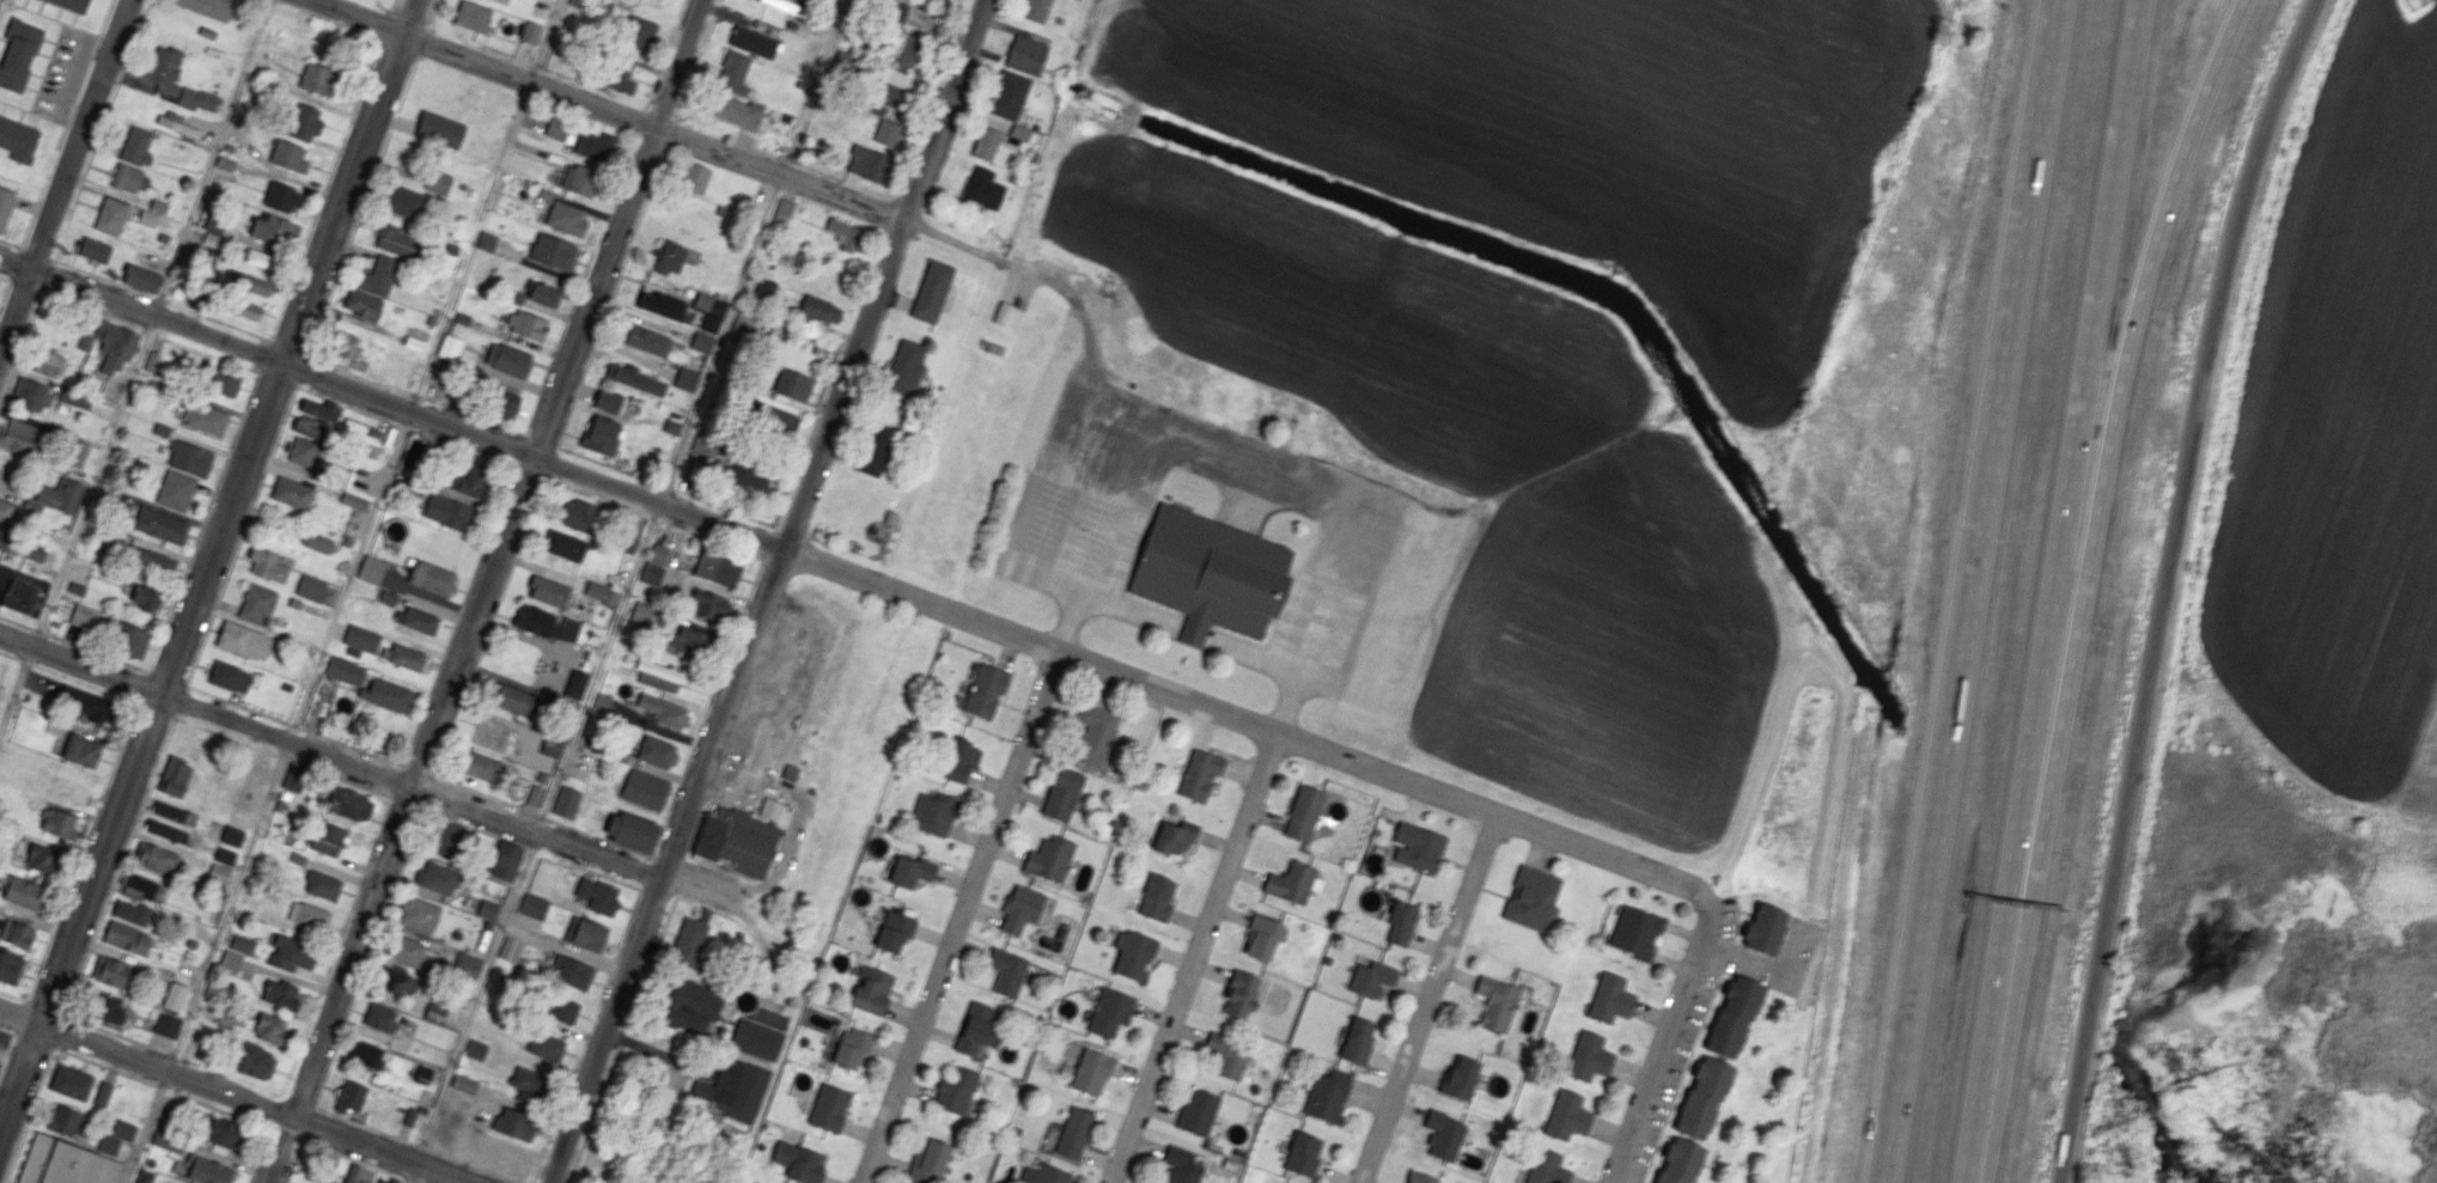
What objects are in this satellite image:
building: (501, 1)
power tower: (2409, 1)
building: (72, 4)
building: (782, 5)
building: (208, 7)
building: (1036, 10)
building: (897, 11)
building: (471, 16)
building: (530, 31)
building: (638, 33)
building: (753, 42)
building: (907, 51)
building: (18, 54)
building: (1026, 55)
building: (733, 72)
building: (621, 73)
building: (317, 78)
building: (175, 80)
building: (895, 89)
building: (1009, 94)
road: (611, 106)
building: (735, 110)
building: (304, 122)
building: (177, 124)
building: (556, 128)
building: (440, 129)
building: (887, 132)
crop: (1586, 138)
building: (18, 139)
building: (986, 142)
building: (136, 146)
building: (595, 146)
building: (290, 157)
building: (867, 163)
road: (63, 177)
building: (127, 177)
building: (694, 178)
building: (580, 179)
building: (438, 182)
building: (983, 188)
building: (281, 199)
building: (406, 202)
building: (5, 205)
building: (782, 212)
building: (111, 215)
building: (566, 218)
building: (273, 230)
building: (843, 233)
building: (486, 240)
building: (397, 242)
building: (95, 249)
building: (553, 252)
building: (670, 257)
building: (262, 260)
building: (378, 275)
road: (5, 278)
building: (141, 279)
building: (250, 282)
road: (2150, 285)
road: (25, 286)
road: (2101, 287)
building: (763, 289)
building: (932, 291)
building: (543, 293)
building: (660, 301)
building: (702, 301)
building: (362, 304)
road: (92, 310)
building: (246, 310)
building: (820, 311)
building: (709, 323)
building: (525, 325)
building: (741, 325)
road: (150, 331)
building: (645, 340)
building: (701, 341)
building: (347, 344)
building: (455, 350)
road: (627, 352)
road: (207, 353)
building: (507, 359)
building: (151, 360)
building: (45, 362)
building: (904, 366)
road: (135, 367)
building: (223, 379)
road: (276, 379)
building: (635, 379)
building: (686, 379)
building: (793, 385)
building: (29, 394)
road: (1090, 394)
building: (74, 398)
building: (607, 401)
building: (505, 402)
road: (348, 405)
building: (321, 409)
building: (203, 417)
road: (692, 417)
building: (773, 419)
road: (406, 426)
building: (671, 426)
building: (311, 427)
building: (601, 434)
building: (18, 435)
building: (705, 445)
road: (462, 447)
building: (877, 449)
building: (77, 451)
building: (303, 452)
building: (190, 458)
road: (529, 472)
building: (747, 477)
crop: (1482, 477)
building: (470, 480)
building: (176, 490)
building: (292, 493)
building: (60, 495)
road: (597, 496)
building: (354, 501)
road: (229, 511)
building: (446, 511)
building: (5, 512)
building: (575, 513)
road: (656, 518)
building: (160, 525)
road: (365, 535)
building: (4, 538)
road: (712, 539)
building: (319, 543)
building: (566, 545)
building: (33, 553)
building: (659, 554)
road: (496, 556)
building: (150, 561)
building: (267, 565)
building: (715, 568)
building: (371, 569)
building: (652, 573)
building: (1207, 573)
road: (851, 574)
building: (431, 577)
road: (2162, 584)
building: (310, 587)
building: (548, 591)
road: (769, 591)
road: (1961, 591)
building: (602, 592)
building: (19, 596)
building: (145, 598)
building: (256, 604)
building: (709, 605)
building: (645, 612)
road: (458, 615)
building: (86, 617)
building: (418, 620)
road: (18, 623)
building: (547, 623)
road: (491, 627)
building: (361, 638)
building: (132, 640)
building: (244, 640)
building: (694, 641)
road: (10, 654)
building: (407, 657)
road: (26, 661)
building: (343, 670)
building: (660, 675)
building: (229, 676)
road: (85, 683)
building: (577, 683)
building: (986, 690)
building: (386, 695)
building: (514, 700)
parking lot: (773, 700)
building: (602, 701)
building: (89, 705)
road: (156, 708)
building: (664, 711)
building: (1096, 730)
road: (226, 736)
building: (552, 745)
building: (81, 750)
building: (656, 751)
road: (330, 756)
road: (285, 757)
building: (963, 760)
building: (480, 766)
road: (419, 770)
building: (1201, 773)
building: (173, 776)
building: (294, 778)
road: (342, 779)
road: (397, 780)
road: (773, 780)
building: (645, 788)
building: (1065, 794)
building: (534, 795)
building: (566, 801)
road: (407, 803)
building: (349, 804)
building: (770, 809)
building: (937, 812)
building: (173, 813)
building: (1306, 813)
building: (57, 822)
road: (475, 827)
building: (166, 830)
building: (635, 831)
building: (232, 835)
building: (1176, 836)
building: (328, 837)
building: (449, 839)
building: (736, 842)
building: (1420, 847)
road: (531, 849)
road: (80, 850)
building: (224, 855)
building: (43, 858)
building: (154, 858)
building: (505, 860)
building: (1052, 860)
road: (121, 865)
road: (590, 870)
building: (913, 871)
building: (218, 873)
building: (438, 878)
road: (2012, 878)
building: (1292, 882)
building: (322, 885)
building: (142, 889)
building: (23, 892)
building: (598, 897)
building: (1158, 898)
building: (1535, 898)
building: (532, 905)
building: (1022, 908)
building: (488, 909)
building: (132, 913)
building: (419, 914)
building: (307, 915)
road: (961, 916)
road: (1736, 916)
road: (745, 917)
parking lot: (1725, 920)
building: (1403, 923)
building: (1761, 925)
building: (896, 931)
building: (1637, 932)
building: (17, 933)
building: (585, 933)
building: (1262, 935)
building: (127, 938)
building: (689, 940)
building: (242, 944)
building: (510, 949)
building: (406, 950)
building: (291, 953)
building: (1133, 955)
road: (368, 958)
road: (652, 958)
road: (1198, 958)
building: (230, 961)
road: (1765, 963)
parking lot: (1738, 964)
building: (468, 966)
building: (8, 968)
building: (1009, 970)
building: (110, 971)
building: (572, 971)
building: (1373, 977)
building: (397, 982)
river: (2133, 987)
building: (872, 992)
building: (1243, 993)
building: (280, 994)
road: (12, 995)
building: (175, 995)
road: (476, 998)
road: (1432, 999)
building: (1609, 999)
building: (1499, 1001)
building: (688, 1005)
building: (102, 1006)
road: (44, 1007)
building: (560, 1007)
building: (435, 1012)
building: (1111, 1012)
building: (1731, 1014)
building: (379, 1017)
building: (165, 1025)
road: (7, 1029)
building: (269, 1029)
building: (977, 1029)
road: (117, 1033)
road: (585, 1036)
road: (1664, 1036)
road: (622, 1038)
road: (33, 1039)
building: (1359, 1042)
building: (546, 1045)
building: (188, 1047)
building: (853, 1047)
building: (475, 1048)
road: (7, 1050)
building: (1229, 1053)
road: (173, 1055)
building: (367, 1055)
building: (1586, 1055)
building: (256, 1061)
road: (1687, 1061)
road: (104, 1066)
road: (0, 1069)
building: (745, 1069)
building: (1093, 1072)
parking lot: (1673, 1072)
building: (420, 1073)
road: (230, 1075)
building: (1462, 1079)
building: (71, 1081)
building: (531, 1081)
road: (20, 1083)
building: (464, 1084)
road: (160, 1087)
building: (957, 1090)
building: (102, 1093)
road: (236, 1094)
building: (1329, 1096)
building: (349, 1097)
building: (1700, 1097)
road: (298, 1100)
building: (829, 1108)
road: (218, 1109)
road: (275, 1111)
building: (1199, 1112)
road: (593, 1114)
road: (28, 1115)
building: (409, 1116)
building: (1566, 1116)
building: (63, 1120)
building: (169, 1120)
building: (513, 1122)
road: (307, 1123)
road: (145, 1126)
road: (365, 1127)
building: (123, 1130)
road: (286, 1133)
building: (1074, 1133)
building: (224, 1135)
building: (1445, 1135)
building: (167, 1142)
building: (108, 1144)
road: (279, 1148)
road: (422, 1148)
building: (1304, 1154)
road: (260, 1155)
road: (357, 1159)
road: (294, 1160)
building: (928, 1160)
building: (799, 1161)
building: (1676, 1161)
building: (63, 1163)
building: (1183, 1165)
road: (473, 1166)
building: (1545, 1167)
building: (207, 1170)
road: (413, 1172)
building: (325, 1173)
building: (358, 1175)
building: (1050, 1175)
building: (1421, 1177)
building: (392, 1179)

